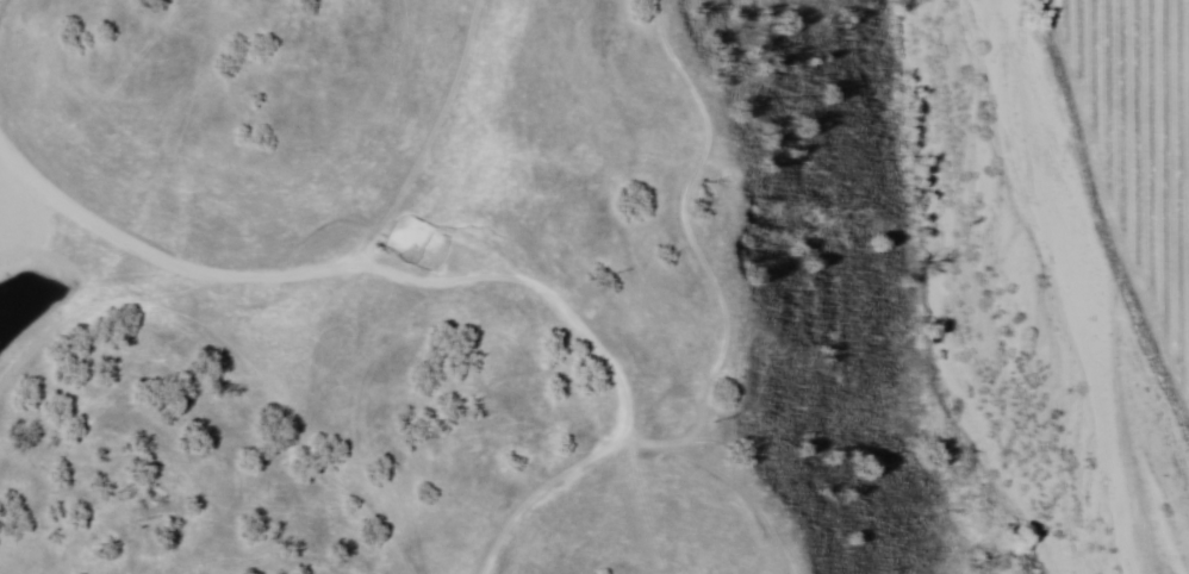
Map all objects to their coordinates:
river: (1046, 291)

